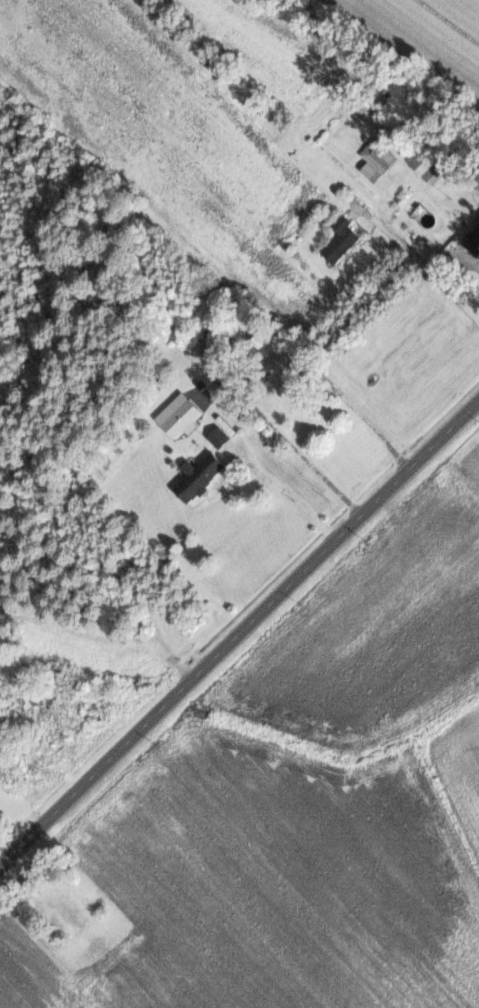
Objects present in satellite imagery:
building: (382, 93)
building: (377, 155)
building: (426, 155)
building: (342, 238)
building: (472, 241)
road: (240, 343)
building: (270, 370)
building: (179, 416)
building: (220, 436)
building: (199, 476)
road: (289, 495)
road: (239, 631)
building: (70, 911)
building: (103, 952)

